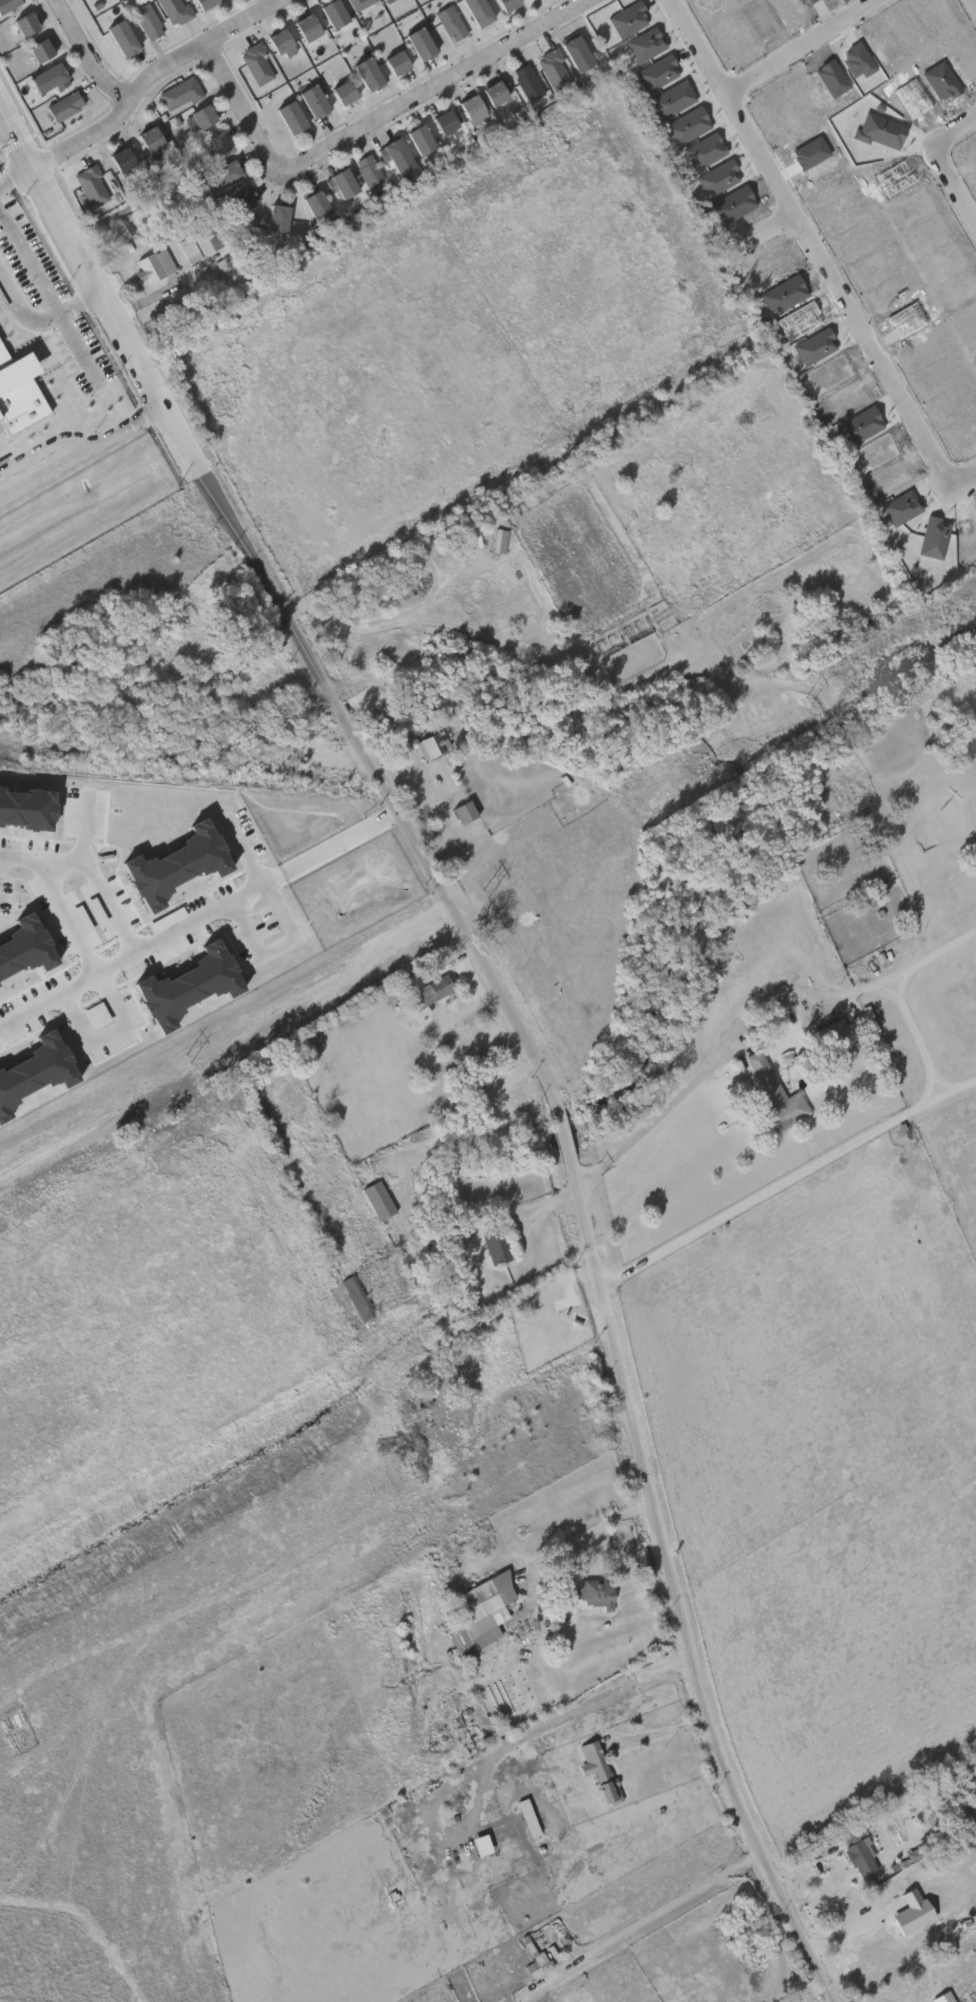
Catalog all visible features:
building: (389, 1)
building: (202, 3)
building: (7, 4)
building: (360, 4)
building: (505, 4)
road: (972, 5)
building: (176, 11)
building: (477, 11)
building: (332, 12)
building: (148, 20)
building: (628, 20)
building: (452, 22)
building: (23, 23)
building: (305, 25)
building: (121, 36)
building: (277, 39)
building: (419, 42)
road: (798, 47)
building: (38, 49)
road: (85, 52)
building: (573, 52)
building: (395, 61)
building: (257, 65)
building: (553, 71)
building: (367, 72)
building: (657, 74)
building: (46, 77)
road: (142, 78)
building: (527, 81)
building: (495, 89)
building: (343, 91)
building: (181, 94)
building: (312, 100)
building: (672, 101)
building: (470, 105)
building: (64, 106)
building: (201, 115)
building: (290, 115)
building: (443, 121)
road: (364, 125)
building: (687, 127)
road: (952, 127)
building: (880, 132)
building: (419, 137)
building: (149, 139)
building: (216, 142)
building: (705, 152)
building: (396, 154)
building: (120, 158)
road: (11, 171)
building: (369, 171)
building: (221, 175)
building: (718, 179)
building: (341, 182)
road: (952, 185)
building: (92, 187)
building: (238, 202)
building: (315, 204)
building: (277, 217)
road: (762, 229)
building: (209, 239)
road: (810, 242)
building: (188, 248)
building: (155, 264)
building: (228, 269)
road: (48, 300)
road: (37, 321)
building: (815, 348)
building: (19, 391)
road: (121, 423)
road: (41, 446)
road: (44, 469)
road: (962, 475)
building: (934, 539)
building: (500, 542)
road: (681, 668)
power tower: (807, 700)
building: (429, 743)
building: (26, 810)
building: (463, 811)
road: (83, 831)
road: (340, 841)
building: (176, 866)
road: (57, 891)
power tower: (486, 892)
road: (105, 902)
road: (280, 946)
building: (25, 948)
road: (142, 949)
road: (933, 955)
building: (189, 987)
building: (436, 988)
building: (96, 1016)
road: (515, 1019)
road: (109, 1036)
building: (834, 1036)
road: (919, 1037)
road: (720, 1050)
power tower: (190, 1056)
building: (358, 1061)
building: (35, 1072)
building: (774, 1092)
road: (787, 1182)
building: (377, 1199)
building: (496, 1244)
building: (355, 1296)
building: (415, 1347)
building: (421, 1397)
road: (590, 1532)
building: (595, 1591)
building: (478, 1611)
road: (496, 1759)
building: (604, 1779)
building: (482, 1846)
building: (856, 1850)
building: (914, 1855)
building: (912, 1913)
road: (829, 1945)
building: (875, 1949)
building: (943, 1997)

